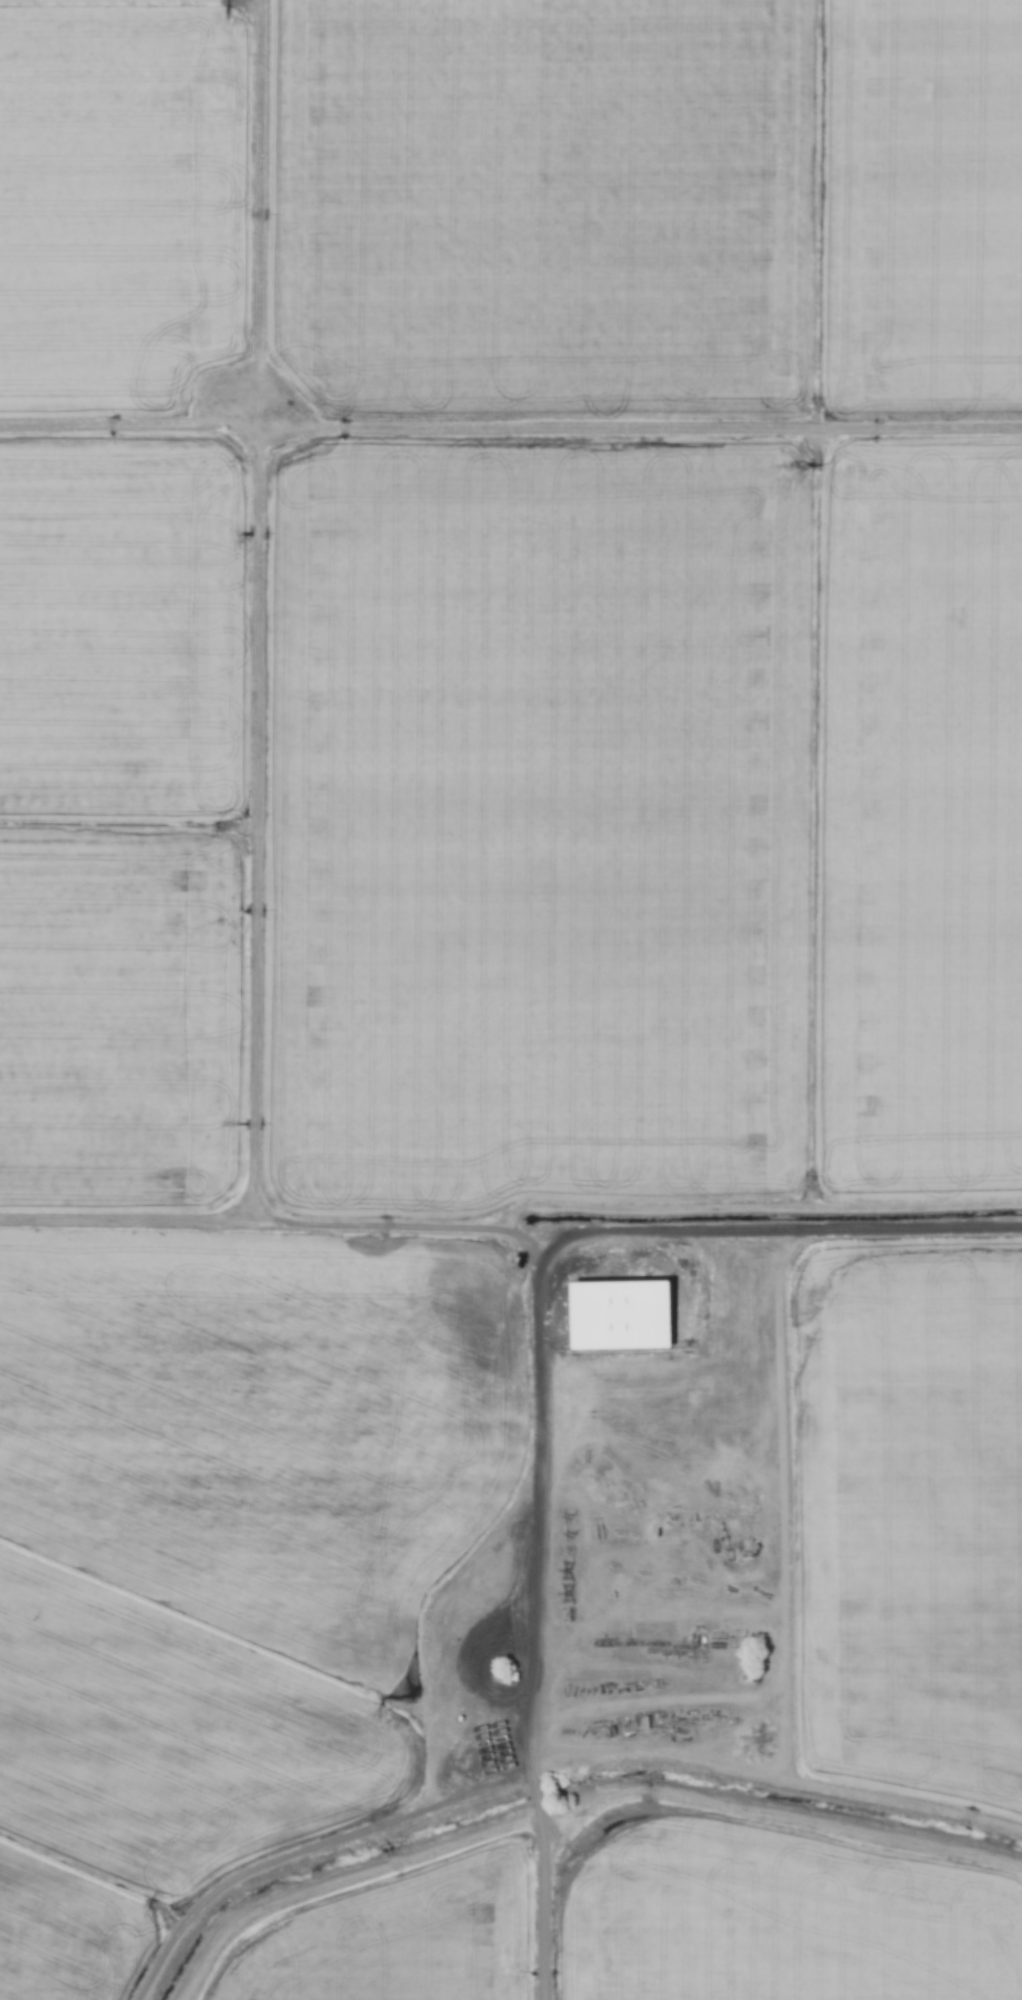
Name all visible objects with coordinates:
road: (644, 1226)

